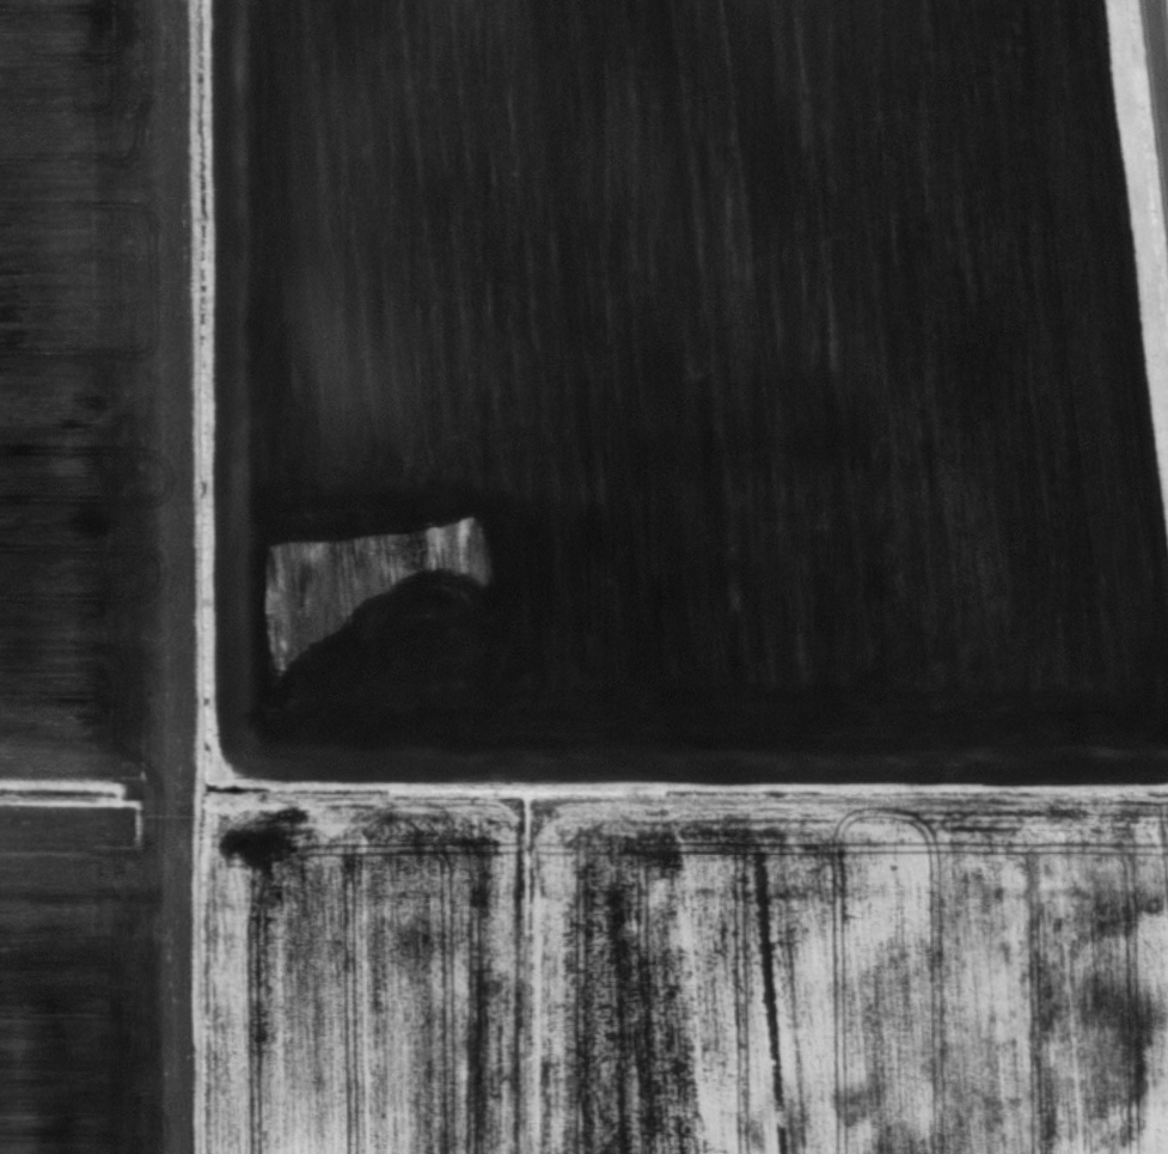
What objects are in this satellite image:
road: (1160, 63)

